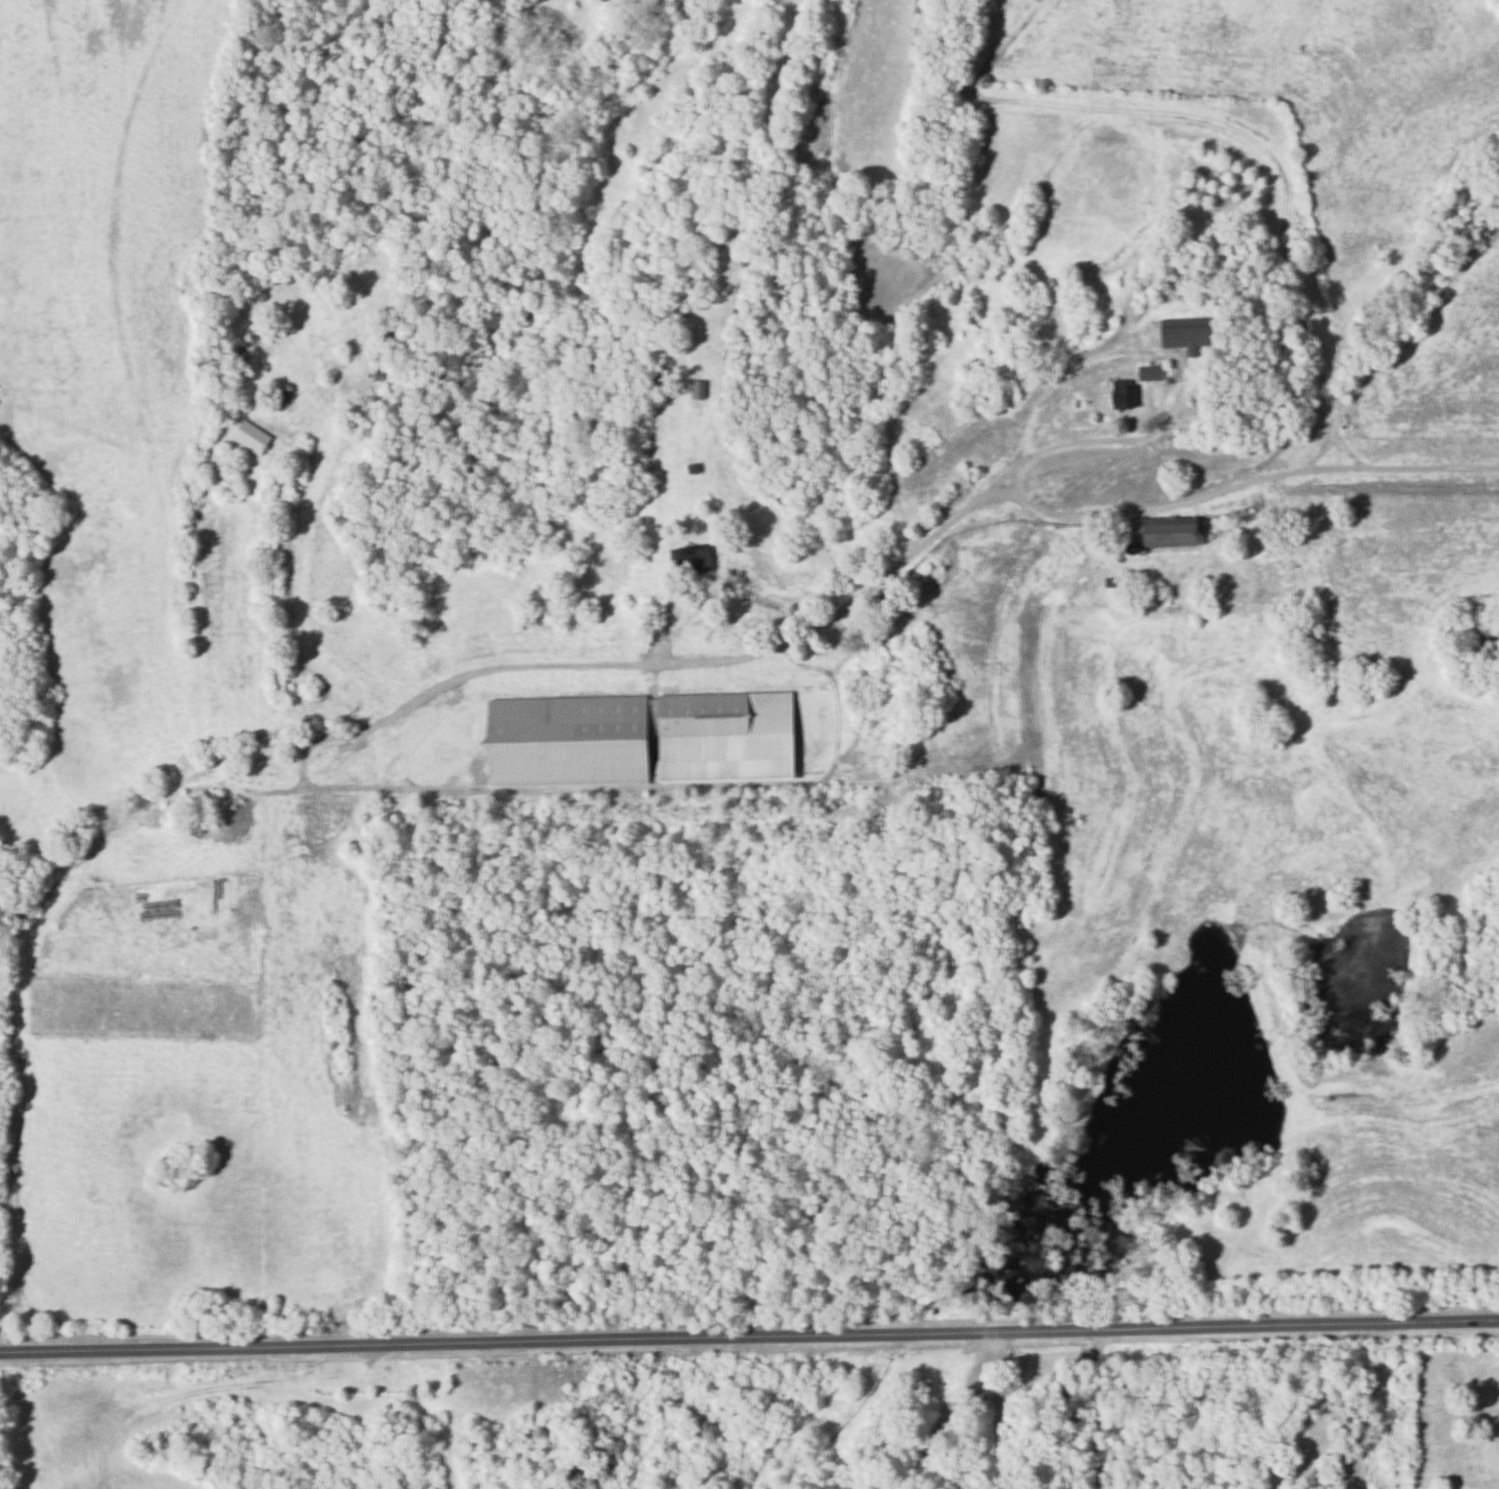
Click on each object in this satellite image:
road: (1005, 50)
road: (978, 51)
road: (1231, 124)
road: (1155, 222)
building: (1182, 331)
road: (1191, 367)
building: (1148, 372)
building: (696, 390)
building: (1119, 398)
building: (249, 437)
building: (1160, 533)
road: (721, 584)
road: (201, 625)
road: (753, 644)
building: (636, 739)
road: (13, 1089)
road: (749, 1333)
road: (962, 1409)

